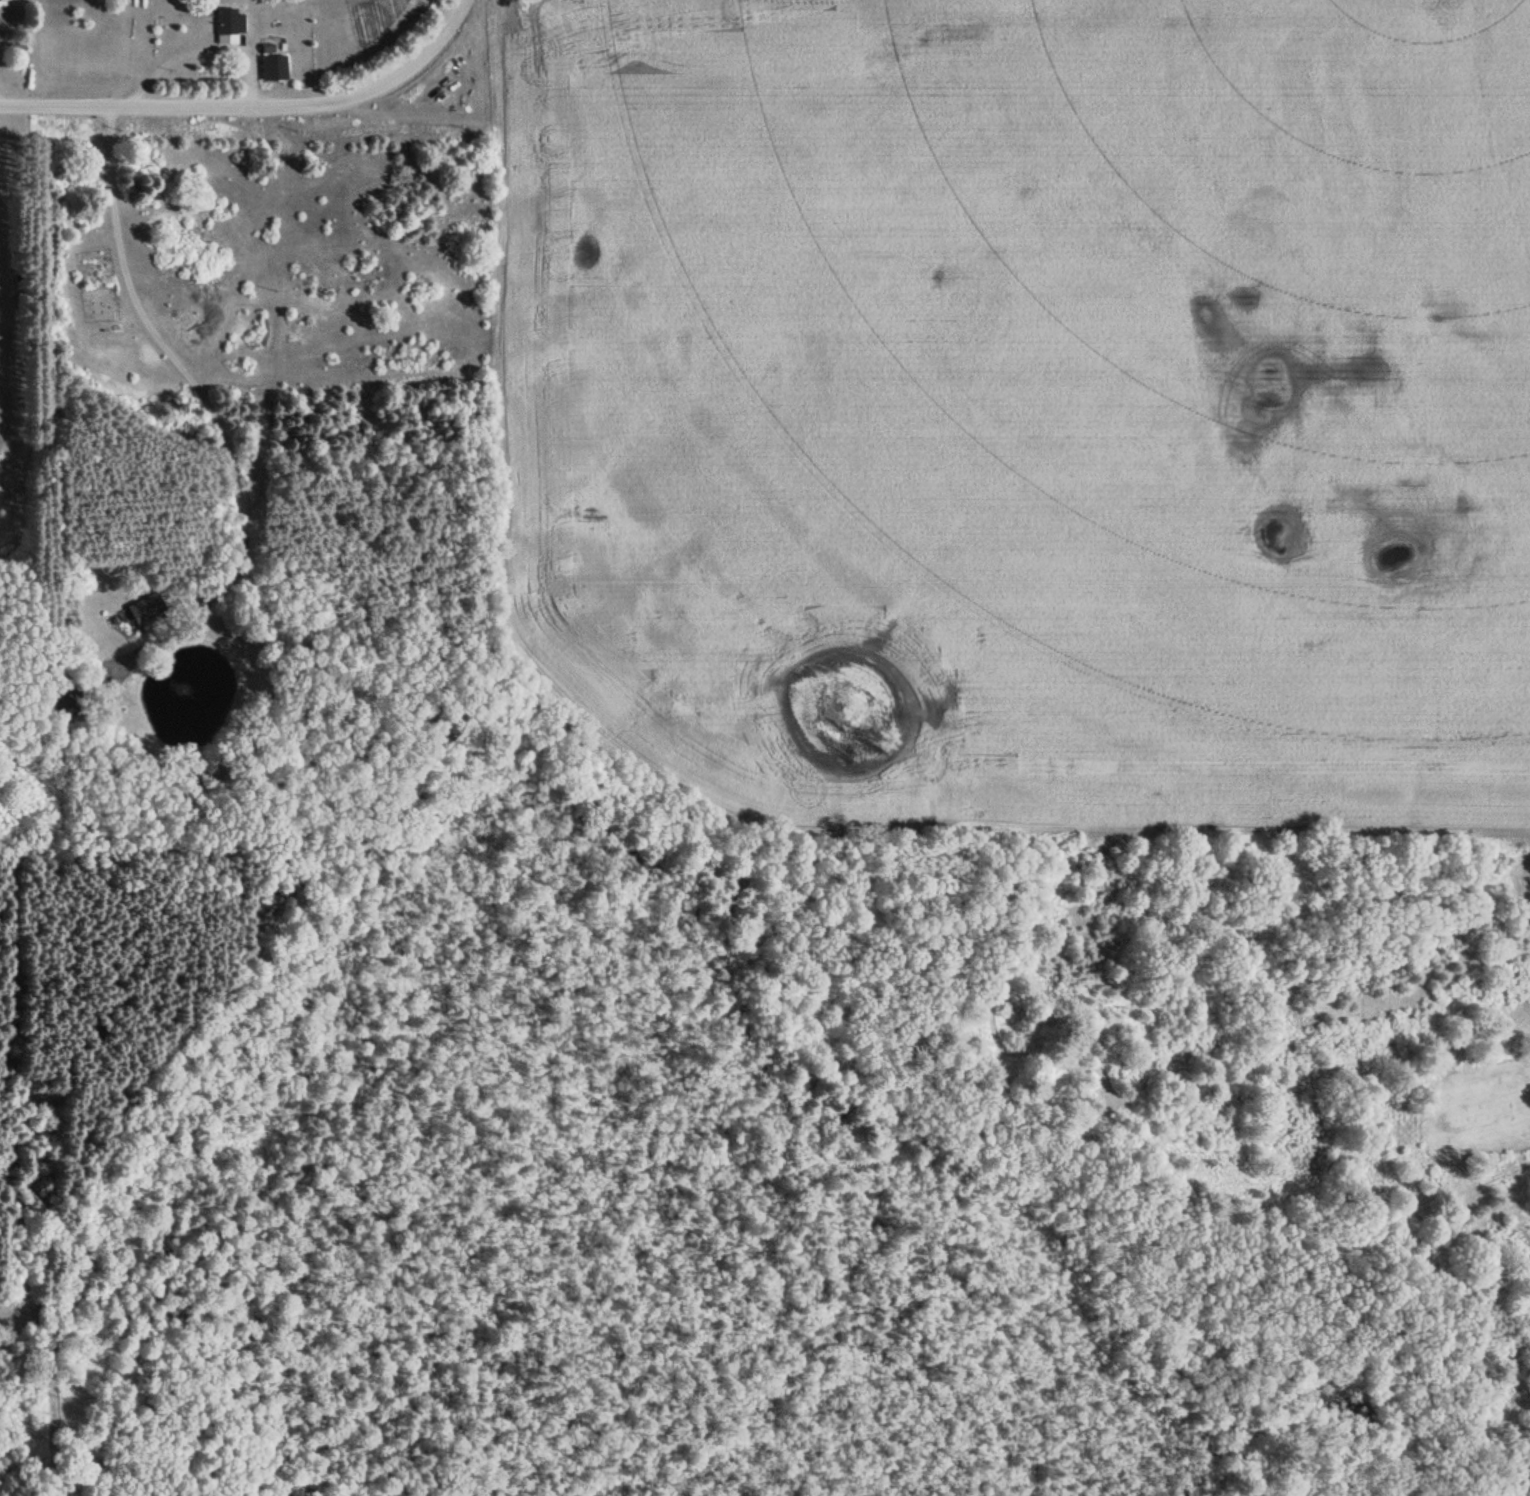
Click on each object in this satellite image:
building: (7, 4)
road: (456, 14)
building: (227, 28)
building: (1, 40)
building: (270, 70)
road: (237, 108)
road: (189, 403)
building: (134, 612)

